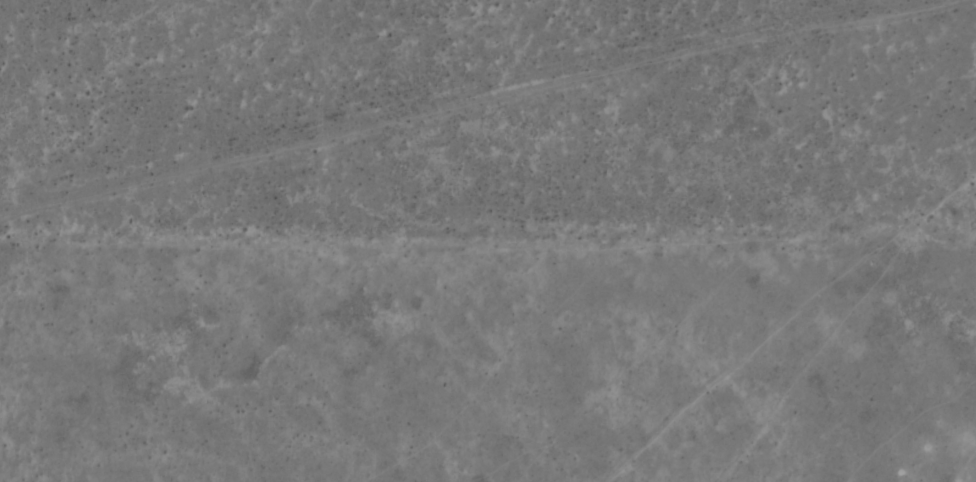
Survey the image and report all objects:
road: (443, 122)

